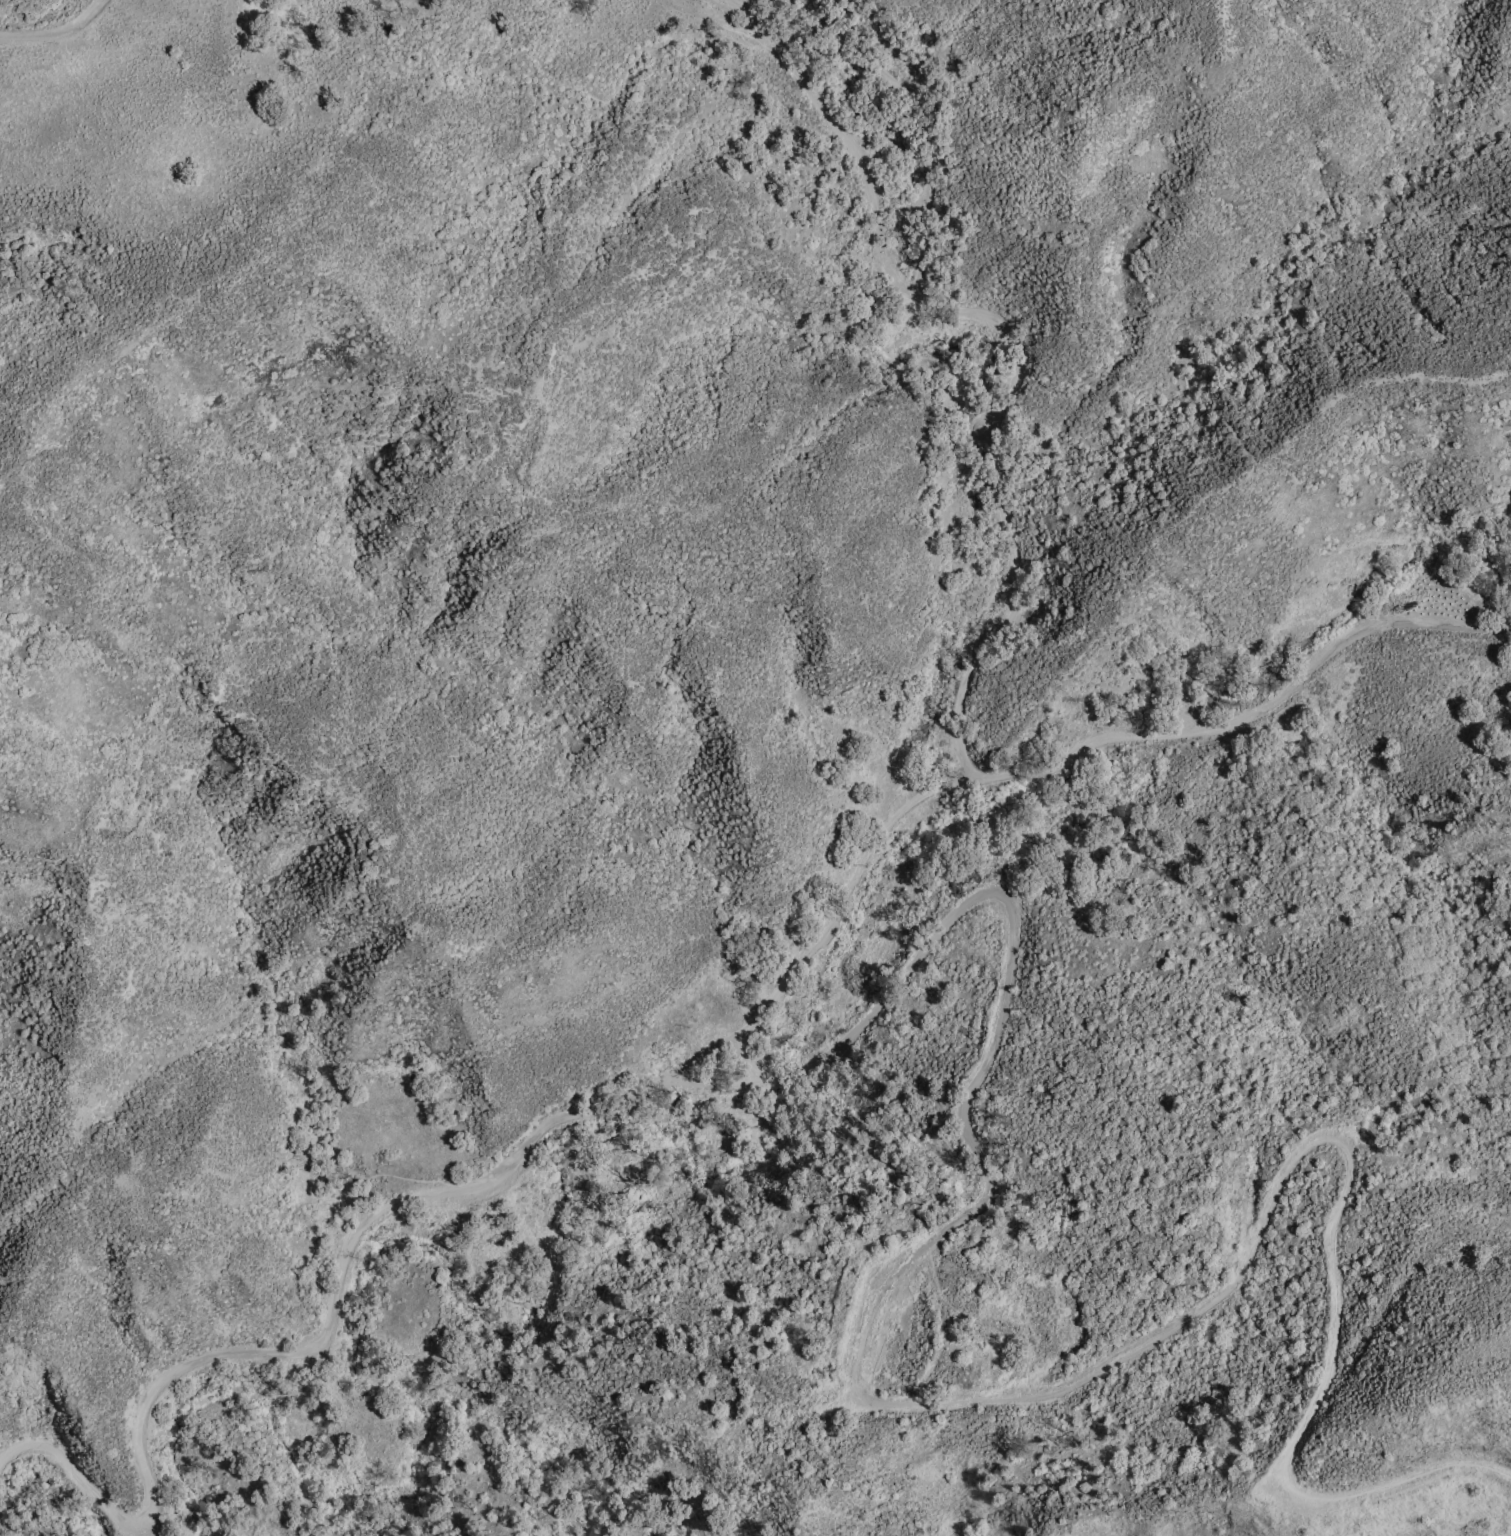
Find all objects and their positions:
road: (56, 33)
road: (844, 132)
road: (1022, 345)
road: (1181, 729)
road: (781, 986)
road: (973, 1078)

